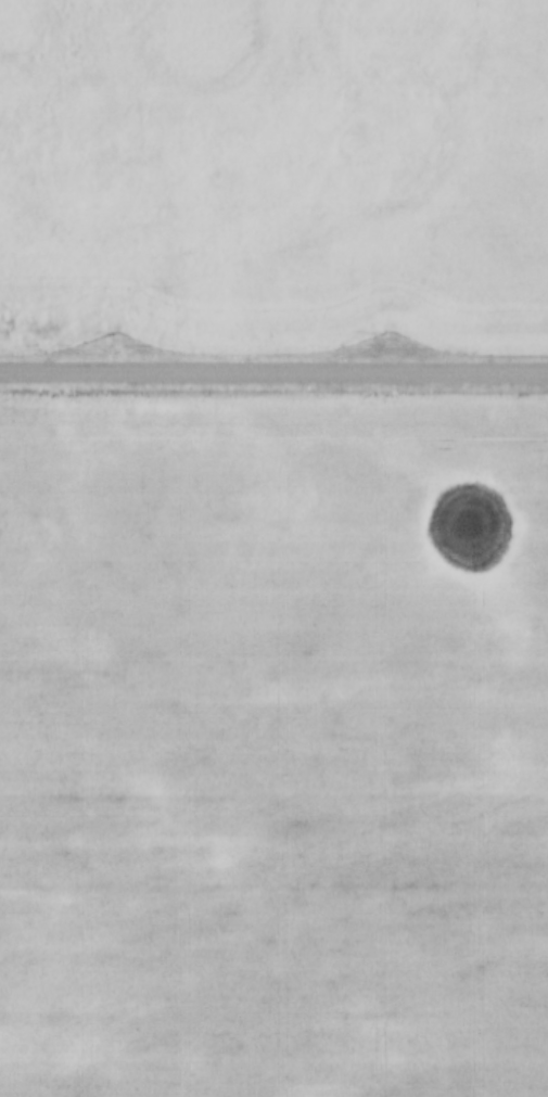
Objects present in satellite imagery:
road: (273, 370)

